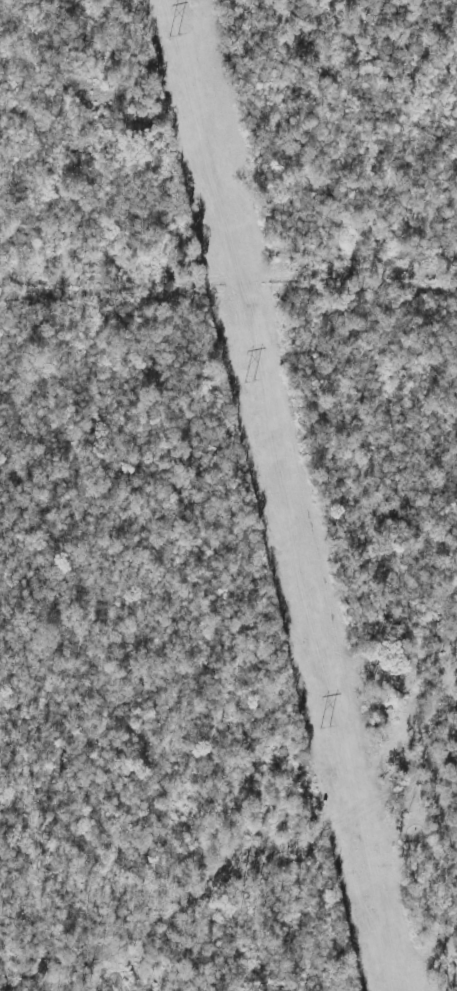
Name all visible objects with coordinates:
power tower: (172, 35)
power tower: (248, 381)
power tower: (325, 729)

